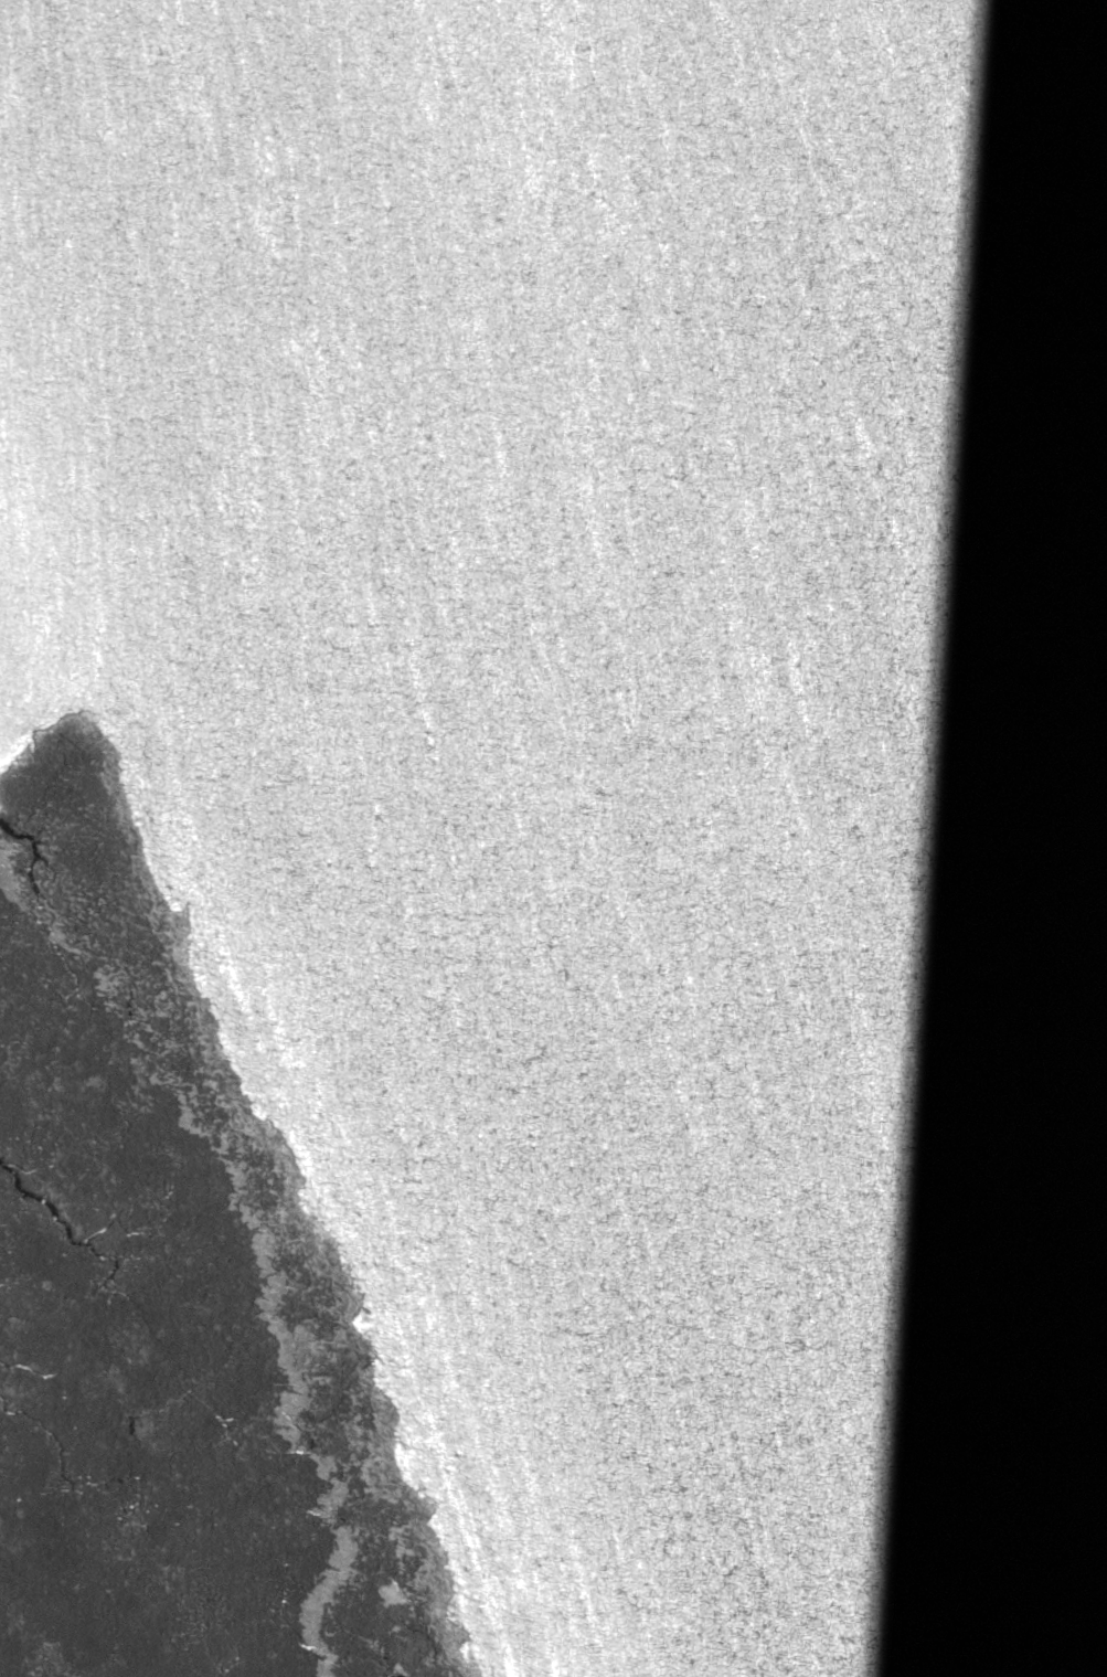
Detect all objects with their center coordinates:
river: (719, 836)

